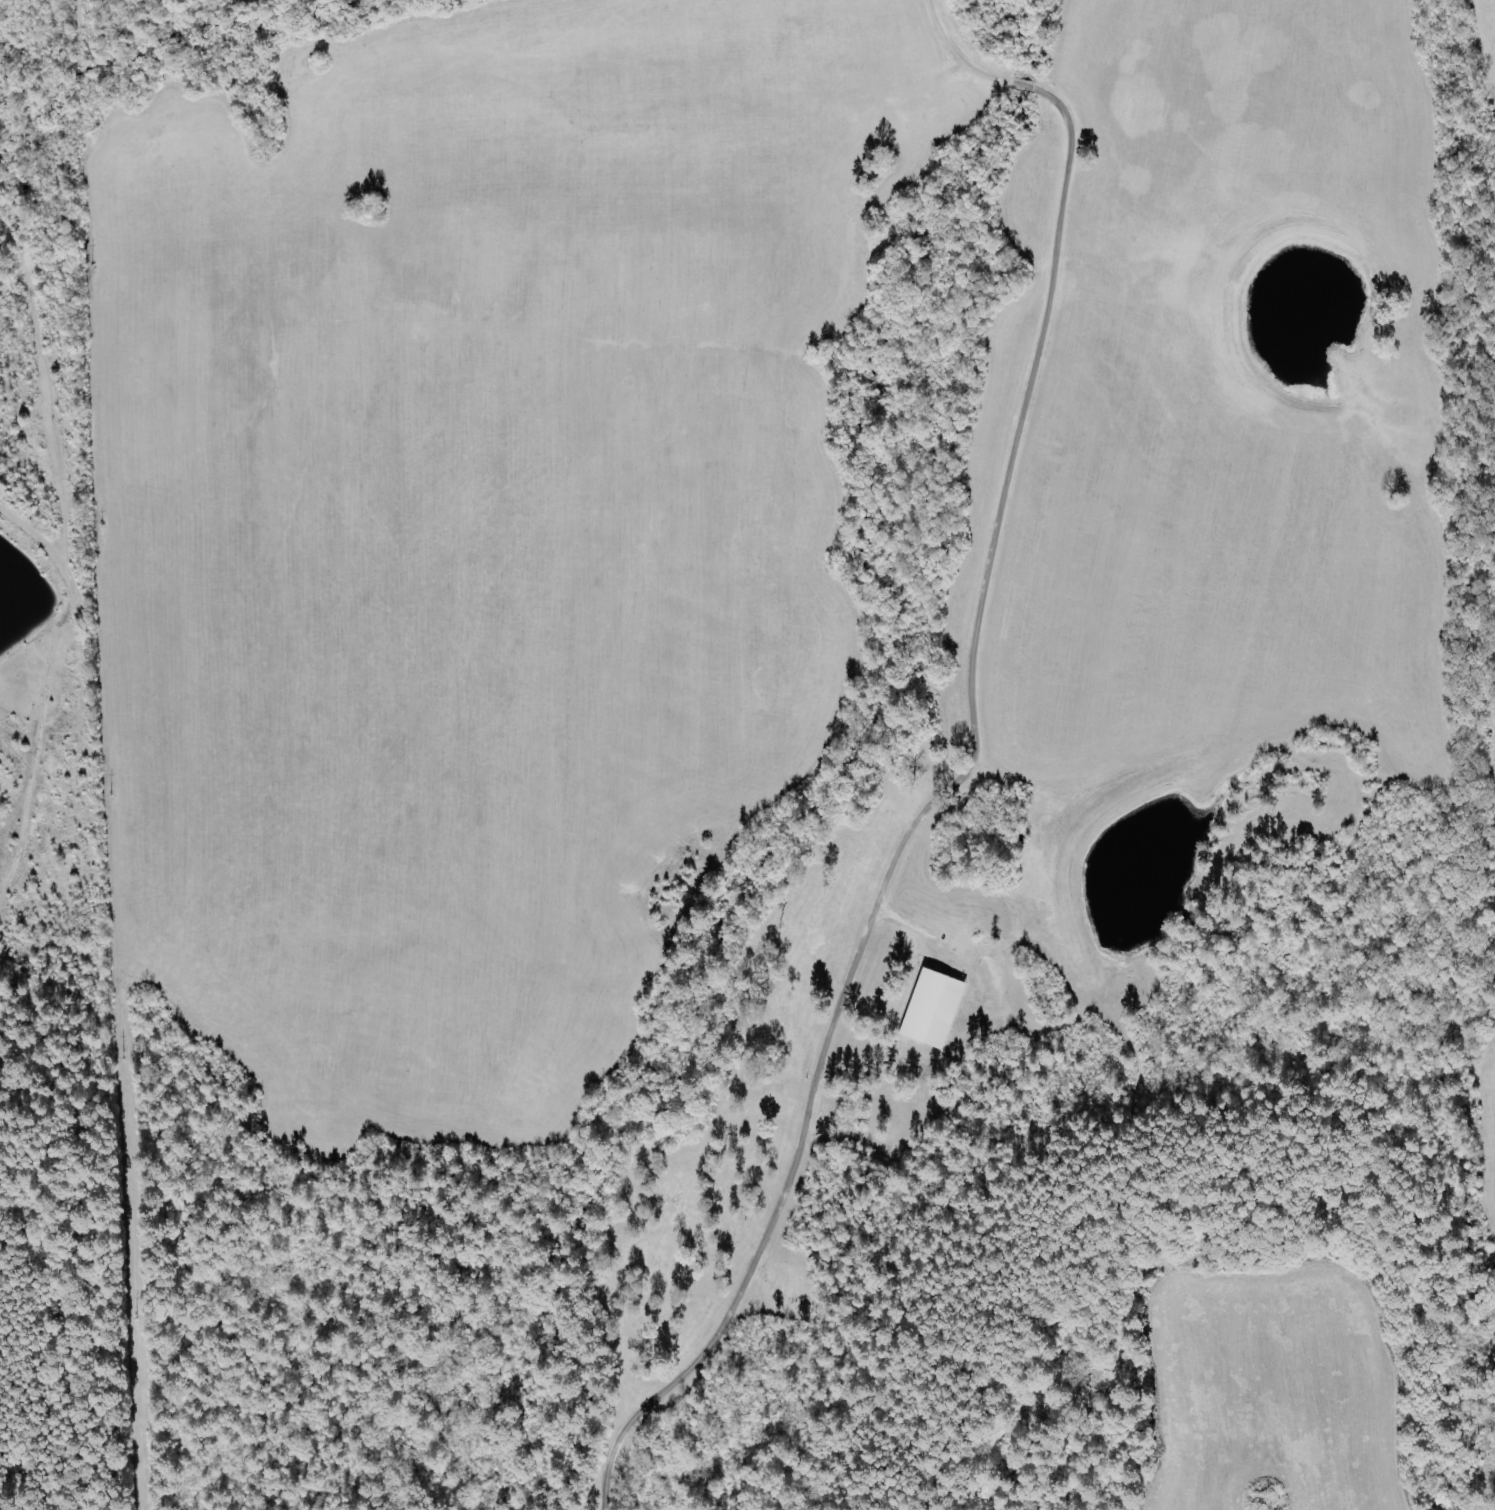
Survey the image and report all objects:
road: (1291, 127)
road: (1247, 256)
road: (1353, 373)
road: (969, 765)
building: (936, 1008)

